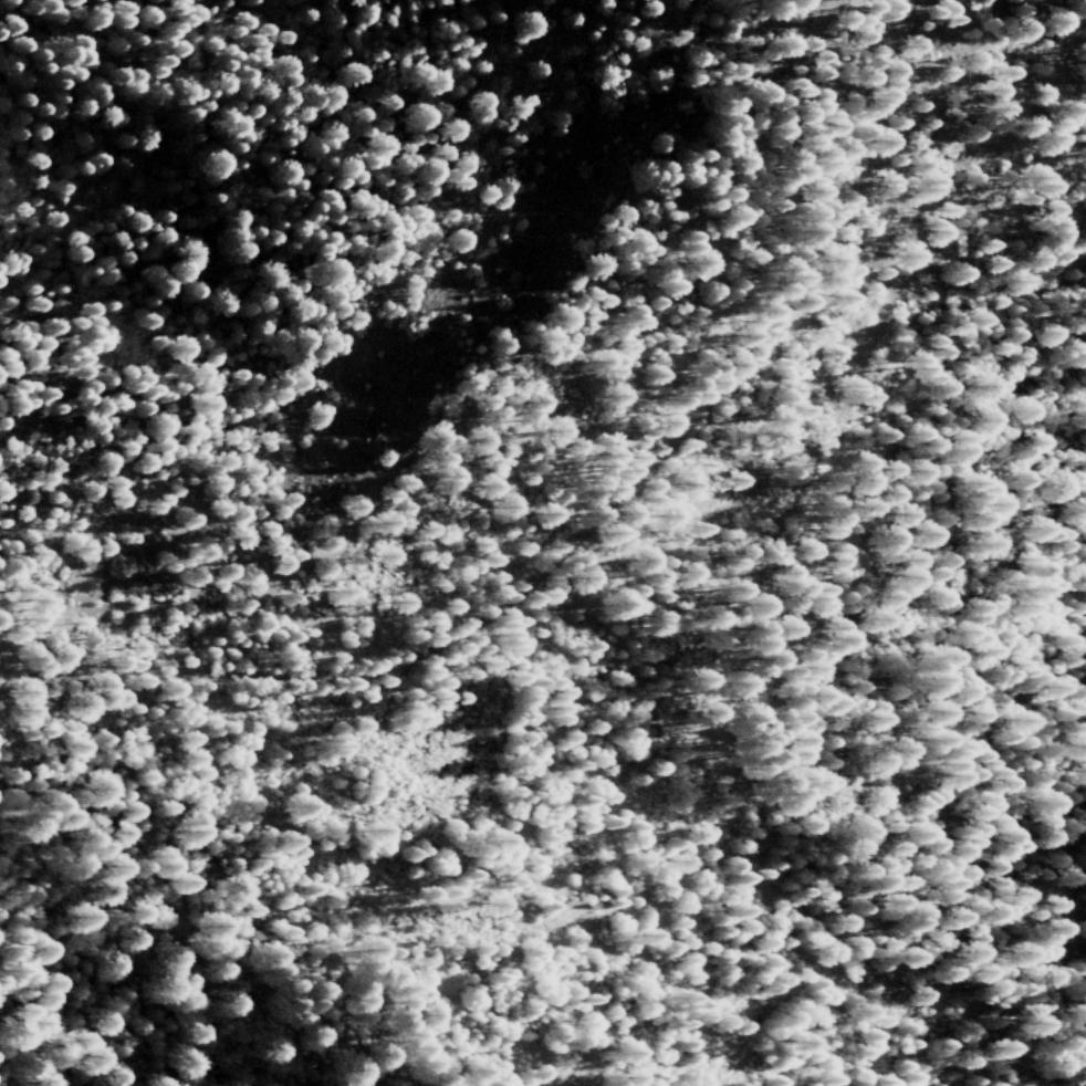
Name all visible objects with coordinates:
road: (619, 504)

